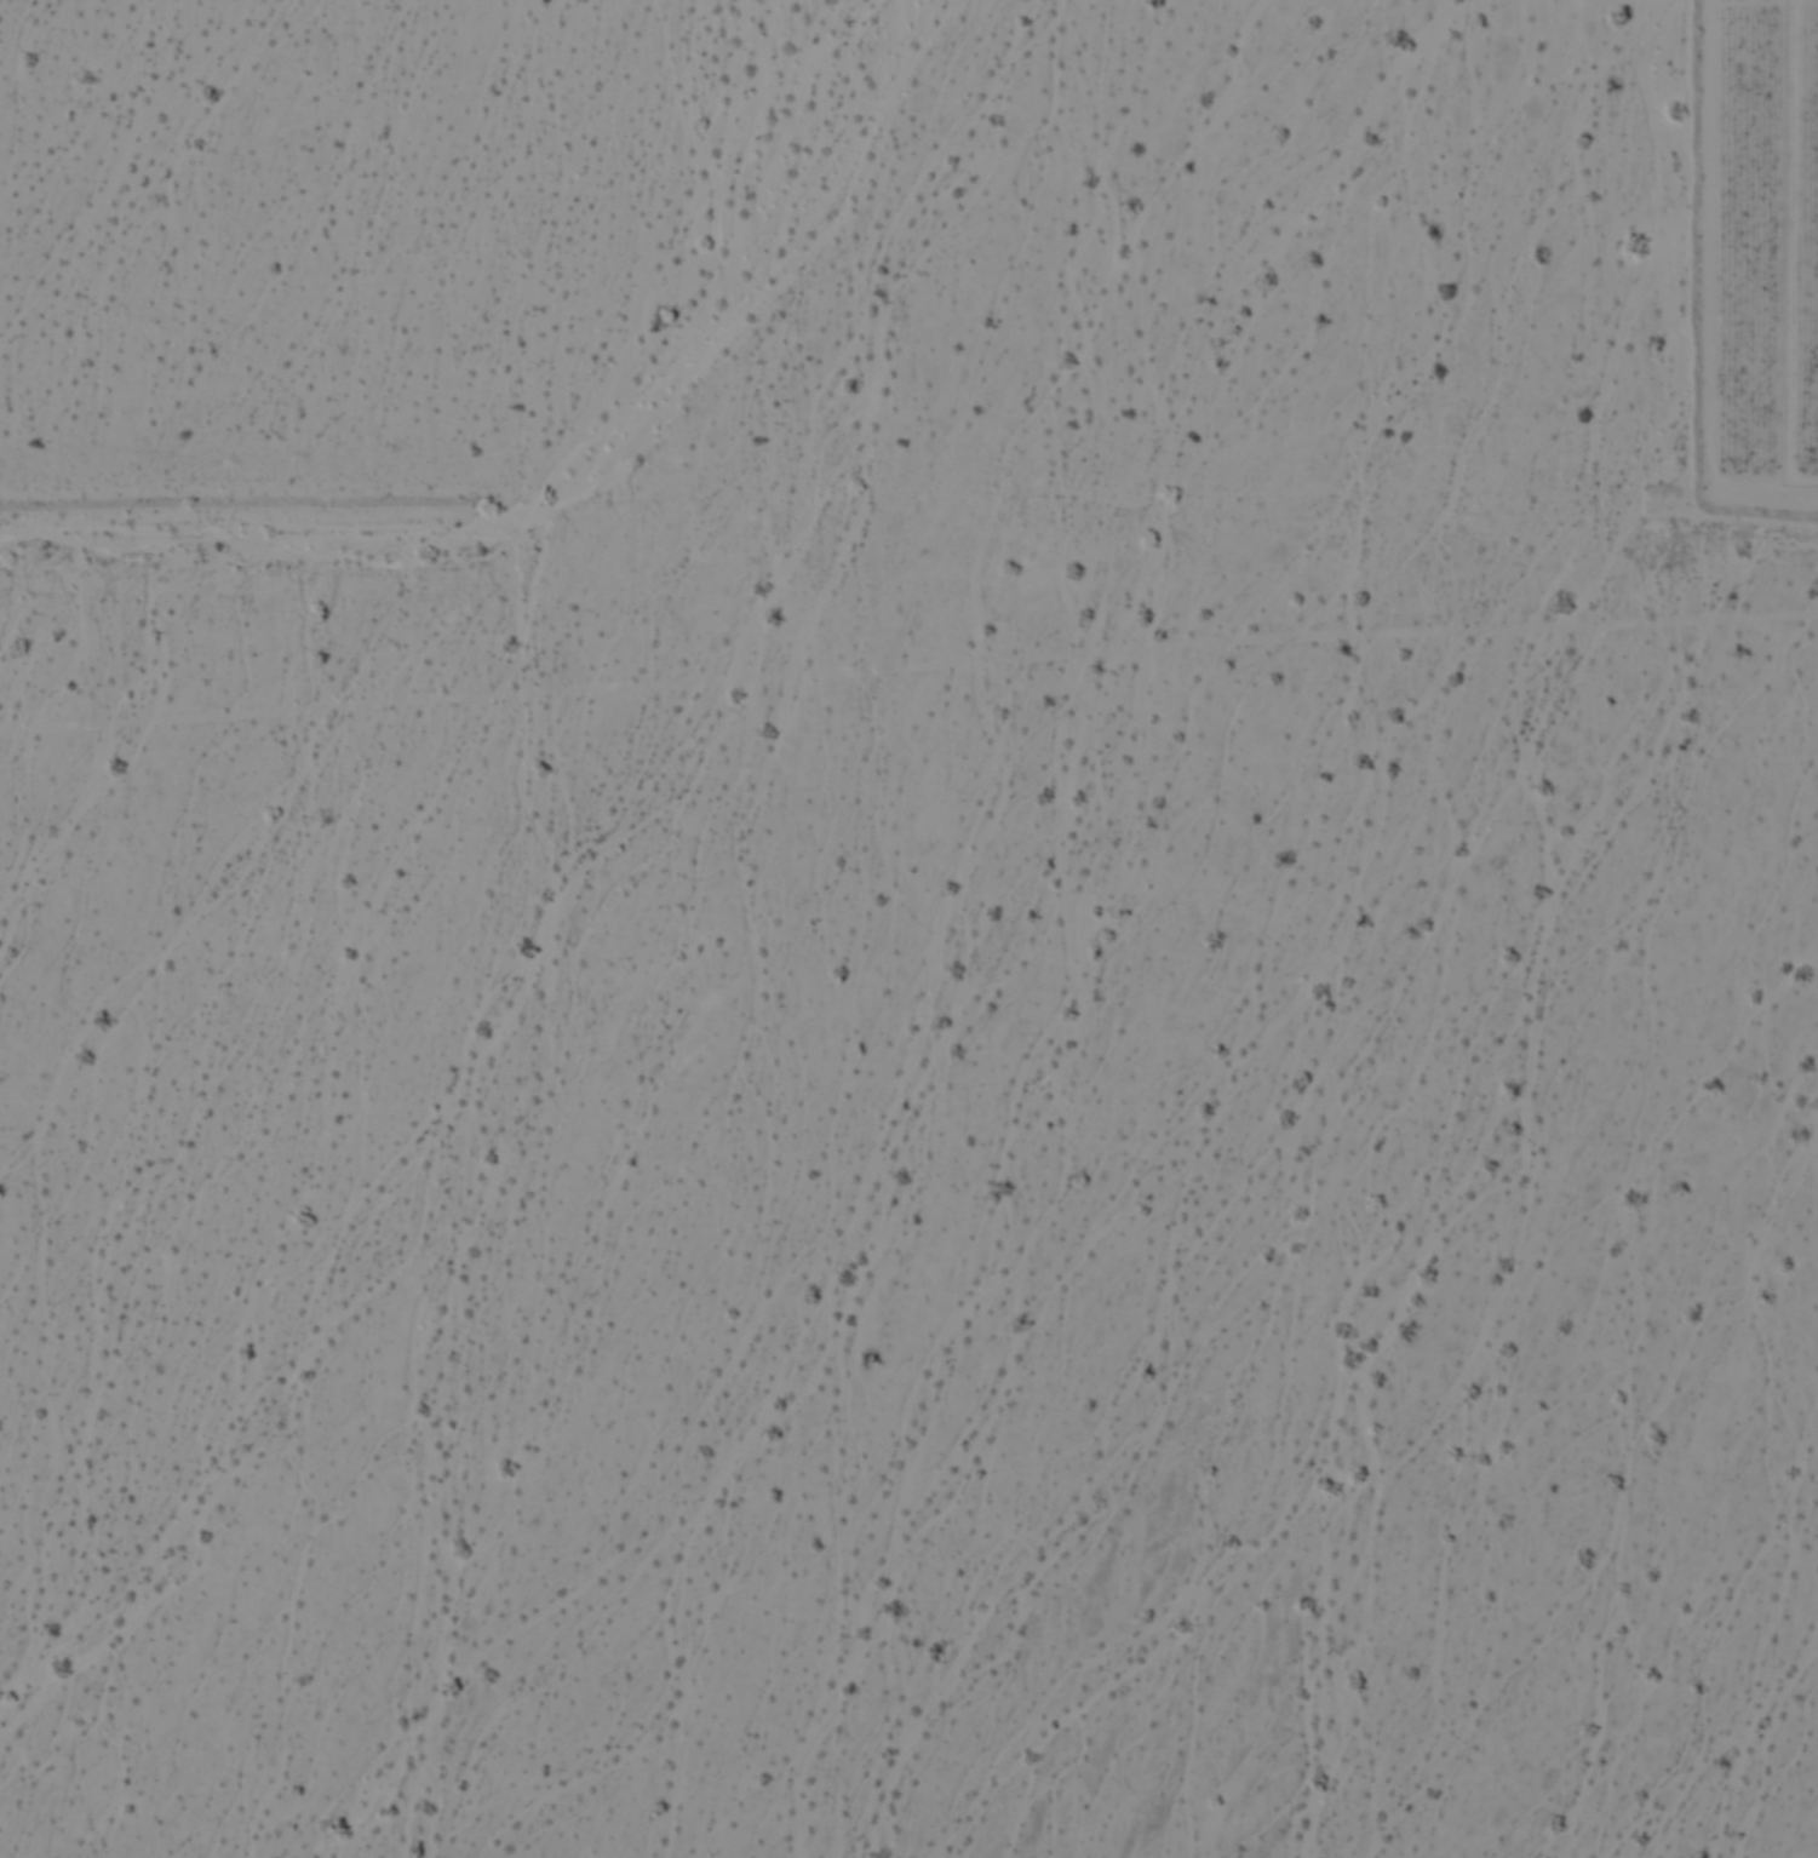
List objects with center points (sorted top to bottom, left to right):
crop: (1753, 246)

